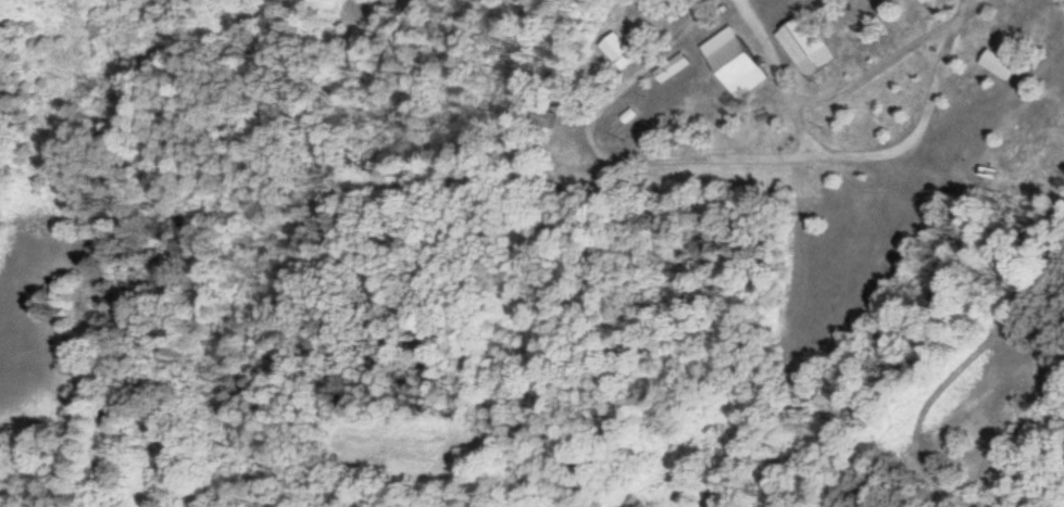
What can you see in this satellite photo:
building: (803, 45)
building: (616, 50)
building: (730, 62)
building: (996, 63)
building: (671, 67)
park: (528, 103)
building: (543, 116)

